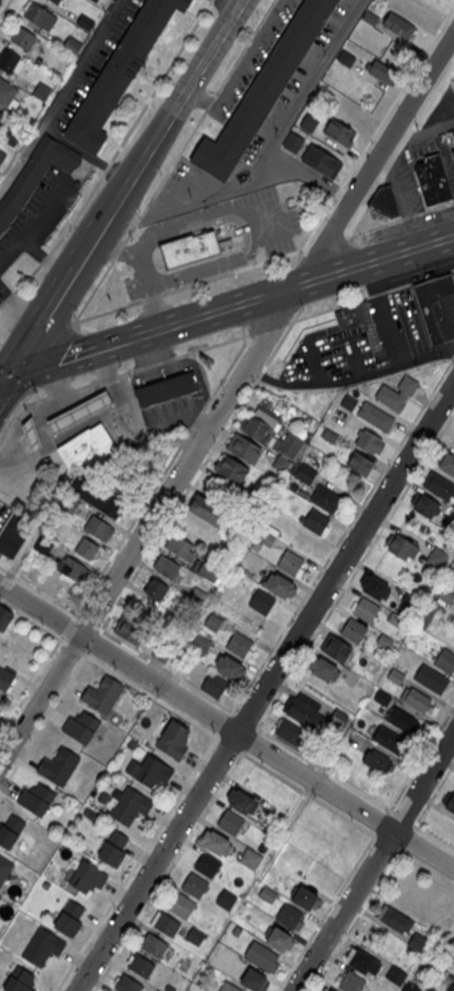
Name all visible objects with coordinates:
building: (95, 0)
building: (56, 1)
road: (230, 3)
road: (4, 7)
building: (39, 15)
building: (370, 16)
building: (398, 24)
building: (23, 37)
building: (346, 57)
road: (84, 59)
building: (10, 62)
building: (382, 71)
building: (120, 72)
road: (159, 80)
building: (42, 91)
building: (263, 91)
road: (302, 93)
road: (434, 93)
building: (8, 94)
road: (398, 94)
road: (207, 107)
building: (1, 113)
building: (309, 122)
road: (424, 131)
building: (11, 133)
building: (338, 133)
road: (408, 134)
building: (294, 142)
building: (453, 150)
road: (23, 153)
road: (84, 153)
building: (2, 156)
building: (321, 162)
road: (106, 167)
building: (34, 171)
road: (310, 175)
building: (439, 176)
building: (426, 183)
road: (122, 188)
road: (340, 189)
road: (374, 189)
road: (218, 196)
building: (385, 201)
road: (78, 211)
road: (123, 216)
road: (401, 219)
road: (137, 222)
road: (320, 222)
road: (35, 225)
road: (128, 235)
road: (326, 242)
building: (190, 247)
road: (118, 251)
road: (46, 255)
road: (46, 256)
road: (144, 267)
road: (325, 270)
road: (234, 271)
road: (27, 277)
road: (320, 277)
road: (93, 292)
road: (371, 295)
road: (151, 296)
building: (0, 298)
road: (7, 298)
road: (382, 298)
road: (17, 306)
building: (437, 307)
road: (106, 311)
road: (243, 314)
road: (161, 327)
road: (35, 332)
road: (203, 348)
road: (55, 356)
road: (70, 356)
road: (2, 377)
traffic signals: (5, 377)
road: (107, 378)
road: (2, 381)
road: (344, 382)
road: (84, 385)
building: (166, 387)
building: (400, 391)
road: (60, 393)
road: (228, 399)
building: (348, 401)
road: (30, 402)
road: (7, 410)
road: (17, 413)
building: (80, 415)
building: (375, 416)
building: (260, 422)
building: (330, 435)
building: (32, 438)
building: (370, 443)
building: (290, 445)
building: (244, 447)
building: (87, 448)
building: (274, 458)
building: (446, 462)
building: (360, 463)
road: (201, 468)
building: (234, 469)
road: (162, 472)
building: (305, 473)
building: (438, 485)
building: (325, 498)
building: (98, 500)
building: (425, 504)
building: (207, 509)
parking lot: (4, 511)
building: (315, 520)
building: (98, 526)
building: (15, 532)
road: (342, 535)
building: (43, 543)
building: (178, 545)
building: (401, 546)
building: (85, 548)
building: (437, 558)
road: (17, 560)
building: (290, 562)
building: (167, 566)
building: (70, 568)
building: (210, 568)
road: (354, 571)
building: (278, 584)
building: (375, 586)
building: (156, 588)
road: (38, 590)
building: (446, 594)
building: (410, 599)
building: (261, 601)
building: (365, 609)
building: (4, 617)
building: (397, 620)
road: (31, 621)
road: (87, 622)
road: (67, 625)
building: (129, 629)
building: (352, 629)
building: (385, 640)
road: (92, 642)
building: (199, 642)
building: (240, 644)
road: (72, 646)
building: (336, 648)
building: (446, 659)
building: (184, 665)
building: (230, 667)
road: (166, 670)
building: (325, 670)
building: (396, 673)
building: (5, 678)
building: (431, 678)
road: (30, 684)
building: (215, 685)
road: (264, 687)
building: (102, 694)
road: (150, 695)
building: (383, 697)
building: (415, 698)
building: (302, 709)
building: (337, 718)
road: (245, 719)
building: (403, 719)
road: (43, 721)
road: (225, 722)
building: (81, 725)
road: (226, 728)
building: (291, 731)
building: (174, 739)
road: (250, 740)
building: (392, 740)
road: (229, 745)
road: (420, 759)
building: (376, 760)
building: (59, 765)
road: (324, 768)
building: (150, 770)
road: (308, 794)
road: (433, 795)
building: (36, 798)
building: (242, 801)
building: (449, 801)
building: (130, 805)
road: (402, 818)
building: (231, 821)
road: (381, 823)
building: (10, 831)
building: (303, 832)
road: (406, 837)
road: (433, 838)
road: (386, 842)
building: (218, 844)
building: (113, 846)
building: (330, 856)
building: (250, 858)
road: (137, 861)
road: (373, 861)
building: (208, 864)
road: (425, 866)
building: (4, 868)
road: (168, 870)
building: (87, 877)
building: (270, 895)
building: (304, 896)
building: (178, 903)
road: (326, 911)
building: (290, 916)
building: (69, 918)
road: (356, 918)
building: (395, 918)
building: (167, 924)
building: (237, 930)
building: (195, 935)
building: (279, 938)
building: (417, 940)
building: (152, 944)
building: (43, 946)
building: (262, 955)
building: (363, 960)
building: (141, 966)
building: (396, 974)
building: (20, 980)
building: (255, 980)
building: (351, 982)
building: (127, 984)
building: (228, 987)
building: (451, 987)
building: (169, 988)
building: (158, 990)
building: (331, 990)

